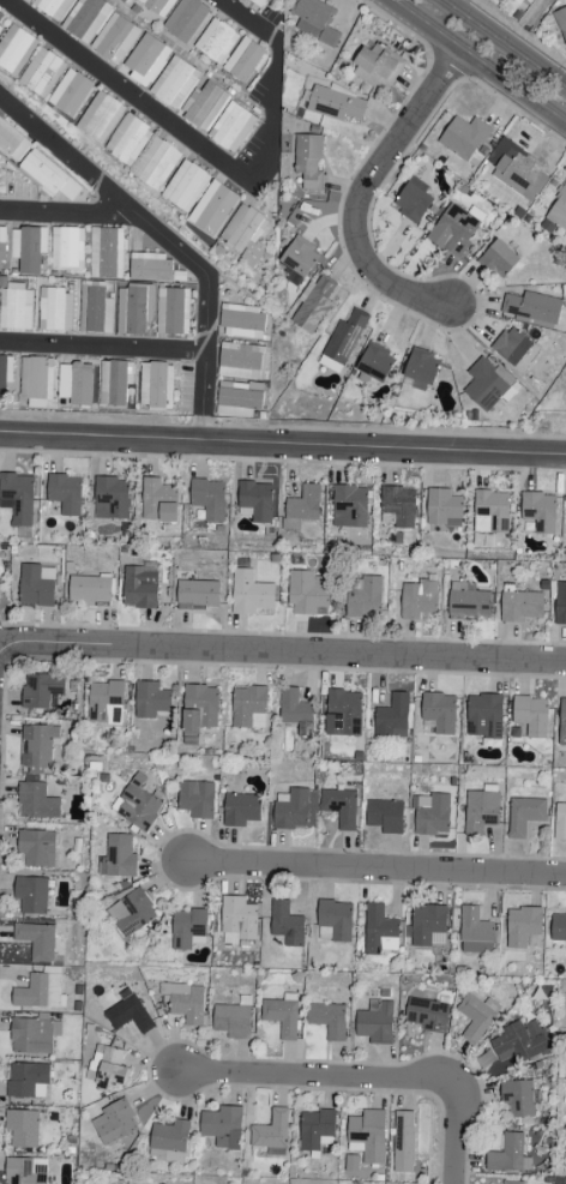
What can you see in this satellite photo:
building: (28, 0)
building: (122, 1)
building: (258, 2)
building: (157, 6)
building: (53, 7)
building: (0, 16)
building: (85, 19)
building: (185, 19)
building: (319, 20)
building: (561, 22)
road: (526, 24)
building: (0, 28)
building: (114, 38)
building: (215, 41)
road: (502, 44)
building: (14, 49)
building: (145, 60)
building: (243, 60)
road: (478, 61)
building: (377, 67)
building: (41, 73)
building: (174, 83)
building: (70, 94)
building: (336, 104)
building: (204, 107)
building: (100, 118)
building: (231, 127)
building: (464, 138)
building: (127, 140)
building: (12, 142)
road: (210, 151)
building: (309, 161)
building: (155, 164)
building: (520, 170)
building: (48, 176)
building: (185, 186)
road: (367, 194)
building: (414, 203)
building: (212, 209)
building: (559, 212)
road: (68, 214)
building: (457, 229)
building: (245, 234)
road: (168, 241)
building: (2, 245)
building: (28, 248)
building: (66, 250)
building: (104, 252)
building: (300, 257)
building: (499, 260)
building: (150, 266)
building: (315, 306)
building: (16, 307)
building: (534, 307)
building: (94, 308)
building: (133, 308)
building: (54, 309)
building: (173, 311)
building: (241, 319)
building: (347, 337)
building: (512, 347)
road: (106, 350)
building: (241, 361)
building: (377, 362)
building: (422, 367)
building: (5, 372)
building: (35, 378)
building: (114, 383)
building: (74, 384)
building: (486, 385)
building: (155, 386)
building: (239, 399)
road: (283, 449)
building: (66, 494)
building: (207, 494)
building: (18, 497)
building: (112, 499)
building: (159, 500)
building: (257, 501)
building: (399, 506)
building: (303, 507)
building: (350, 507)
building: (442, 507)
building: (540, 511)
building: (492, 513)
building: (1, 584)
building: (36, 587)
building: (91, 589)
building: (140, 589)
building: (251, 594)
building: (198, 595)
building: (309, 597)
building: (366, 600)
building: (419, 600)
building: (469, 605)
building: (560, 605)
building: (522, 606)
road: (11, 653)
road: (296, 655)
building: (41, 690)
building: (106, 702)
building: (151, 702)
building: (294, 707)
building: (199, 708)
building: (249, 708)
building: (343, 713)
building: (439, 713)
building: (484, 716)
building: (531, 716)
building: (392, 719)
building: (562, 722)
building: (37, 745)
building: (197, 799)
building: (36, 801)
building: (137, 804)
building: (339, 807)
building: (240, 810)
building: (291, 810)
building: (480, 811)
building: (430, 815)
building: (524, 816)
building: (385, 817)
building: (560, 822)
building: (36, 848)
building: (118, 858)
road: (379, 871)
building: (31, 895)
building: (131, 913)
building: (239, 920)
building: (333, 921)
building: (285, 924)
building: (522, 926)
building: (187, 927)
building: (378, 928)
building: (558, 928)
building: (475, 932)
building: (36, 940)
building: (40, 992)
building: (186, 1003)
building: (128, 1014)
building: (427, 1015)
building: (282, 1016)
building: (476, 1017)
building: (327, 1020)
building: (231, 1021)
building: (375, 1022)
building: (34, 1035)
building: (520, 1041)
road: (305, 1078)
building: (28, 1081)
building: (517, 1099)
road: (459, 1122)
building: (114, 1123)
building: (223, 1126)
building: (23, 1129)
building: (315, 1129)
building: (271, 1132)
building: (367, 1136)
building: (404, 1142)
building: (168, 1143)
building: (508, 1155)
building: (25, 1171)
building: (512, 1183)

